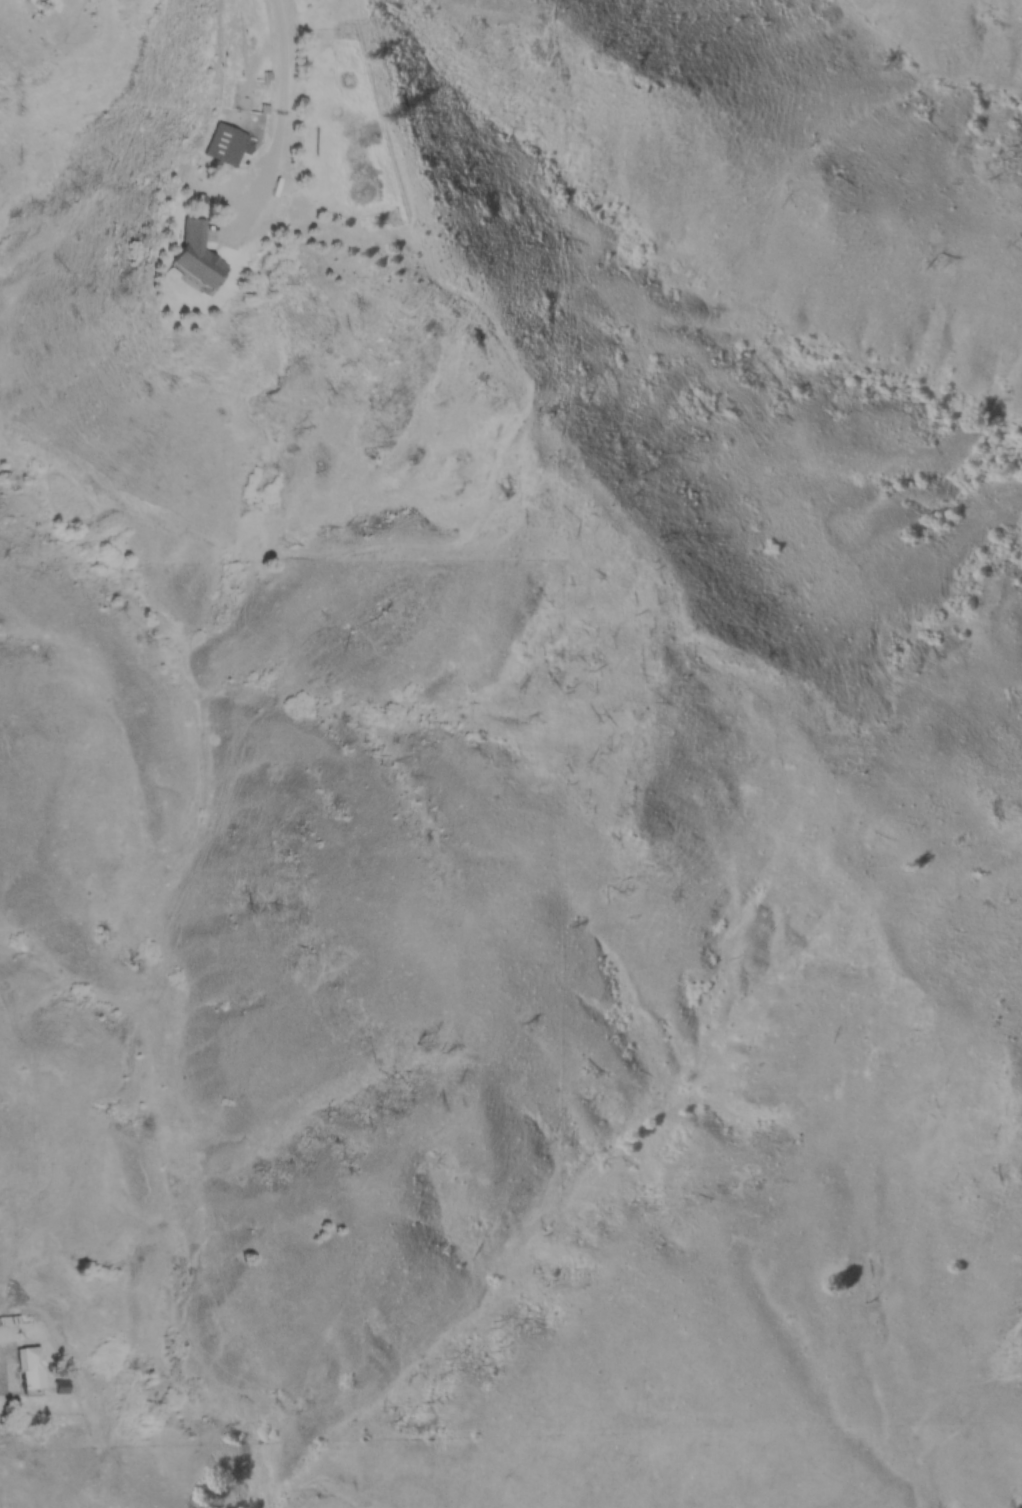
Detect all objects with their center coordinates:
road: (279, 113)
building: (226, 144)
building: (189, 255)
building: (30, 1369)
building: (59, 1386)

